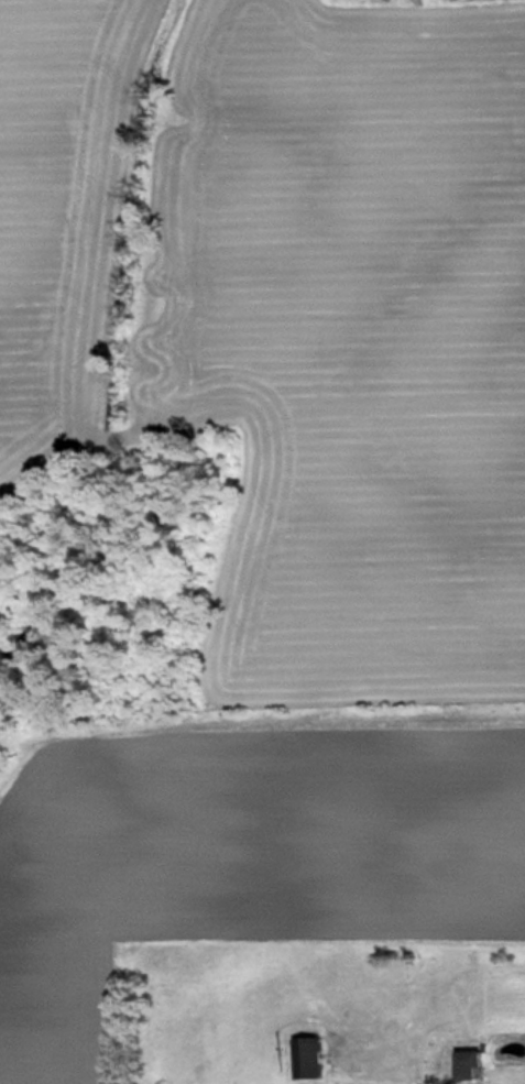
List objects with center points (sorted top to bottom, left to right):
building: (319, 1059)
building: (479, 1066)

